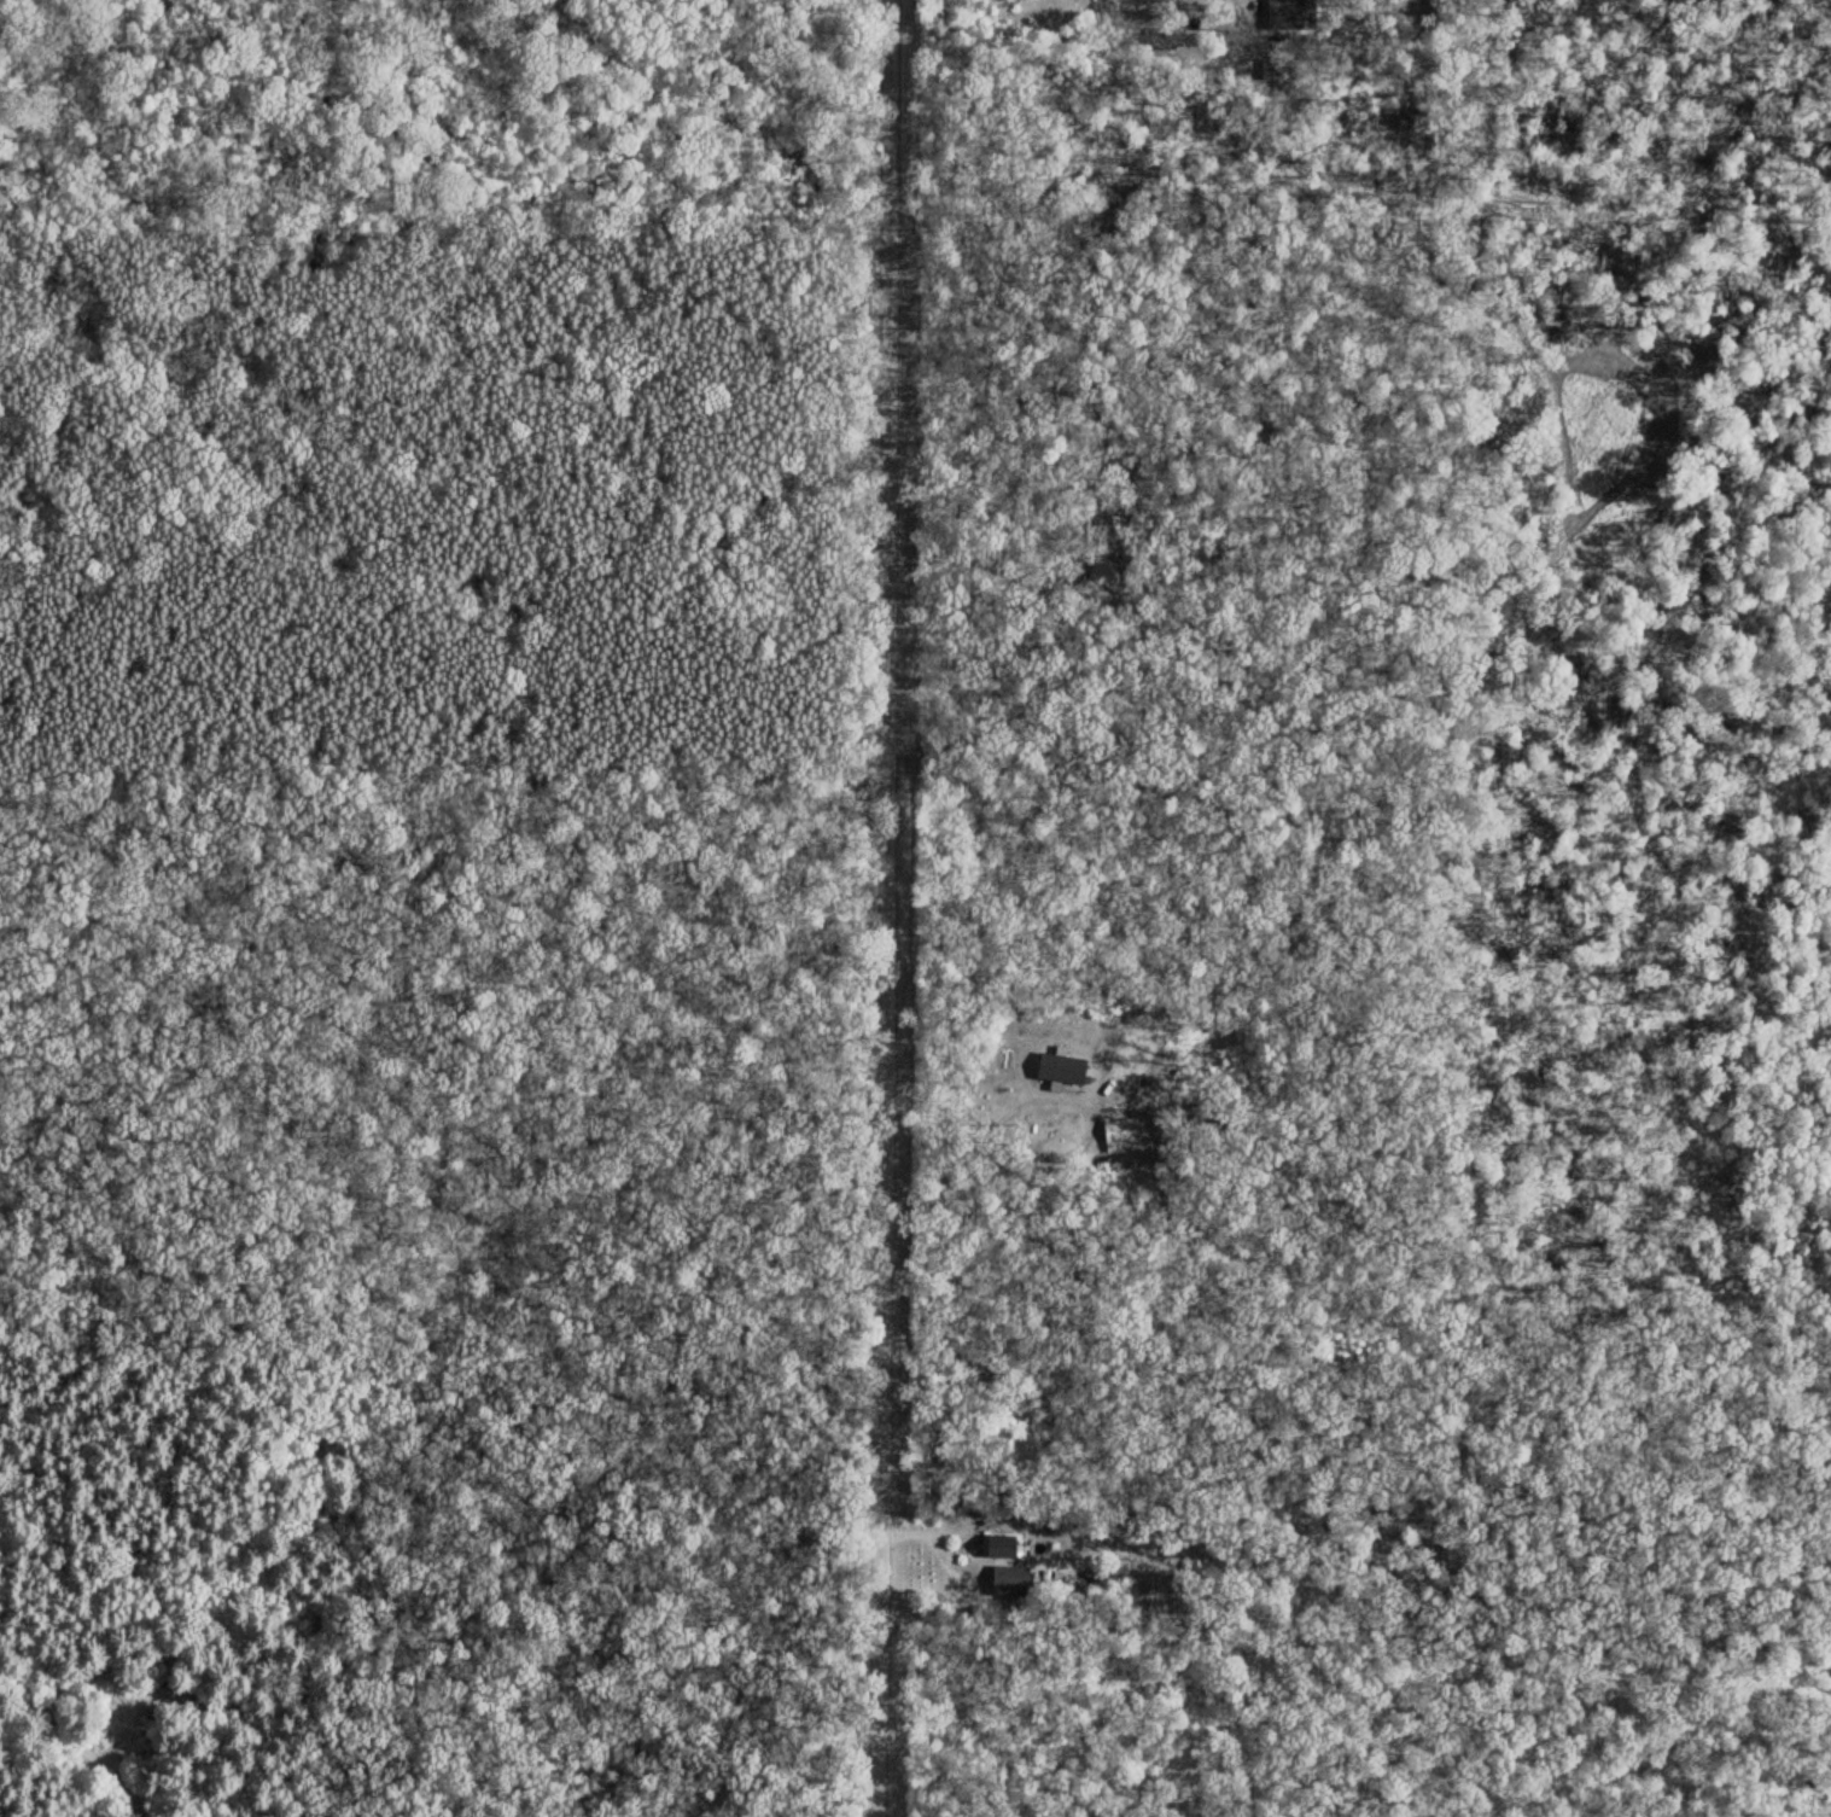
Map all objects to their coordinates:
road: (868, 908)
road: (1347, 1324)
building: (1001, 1547)
building: (1008, 1583)
road: (72, 1740)

